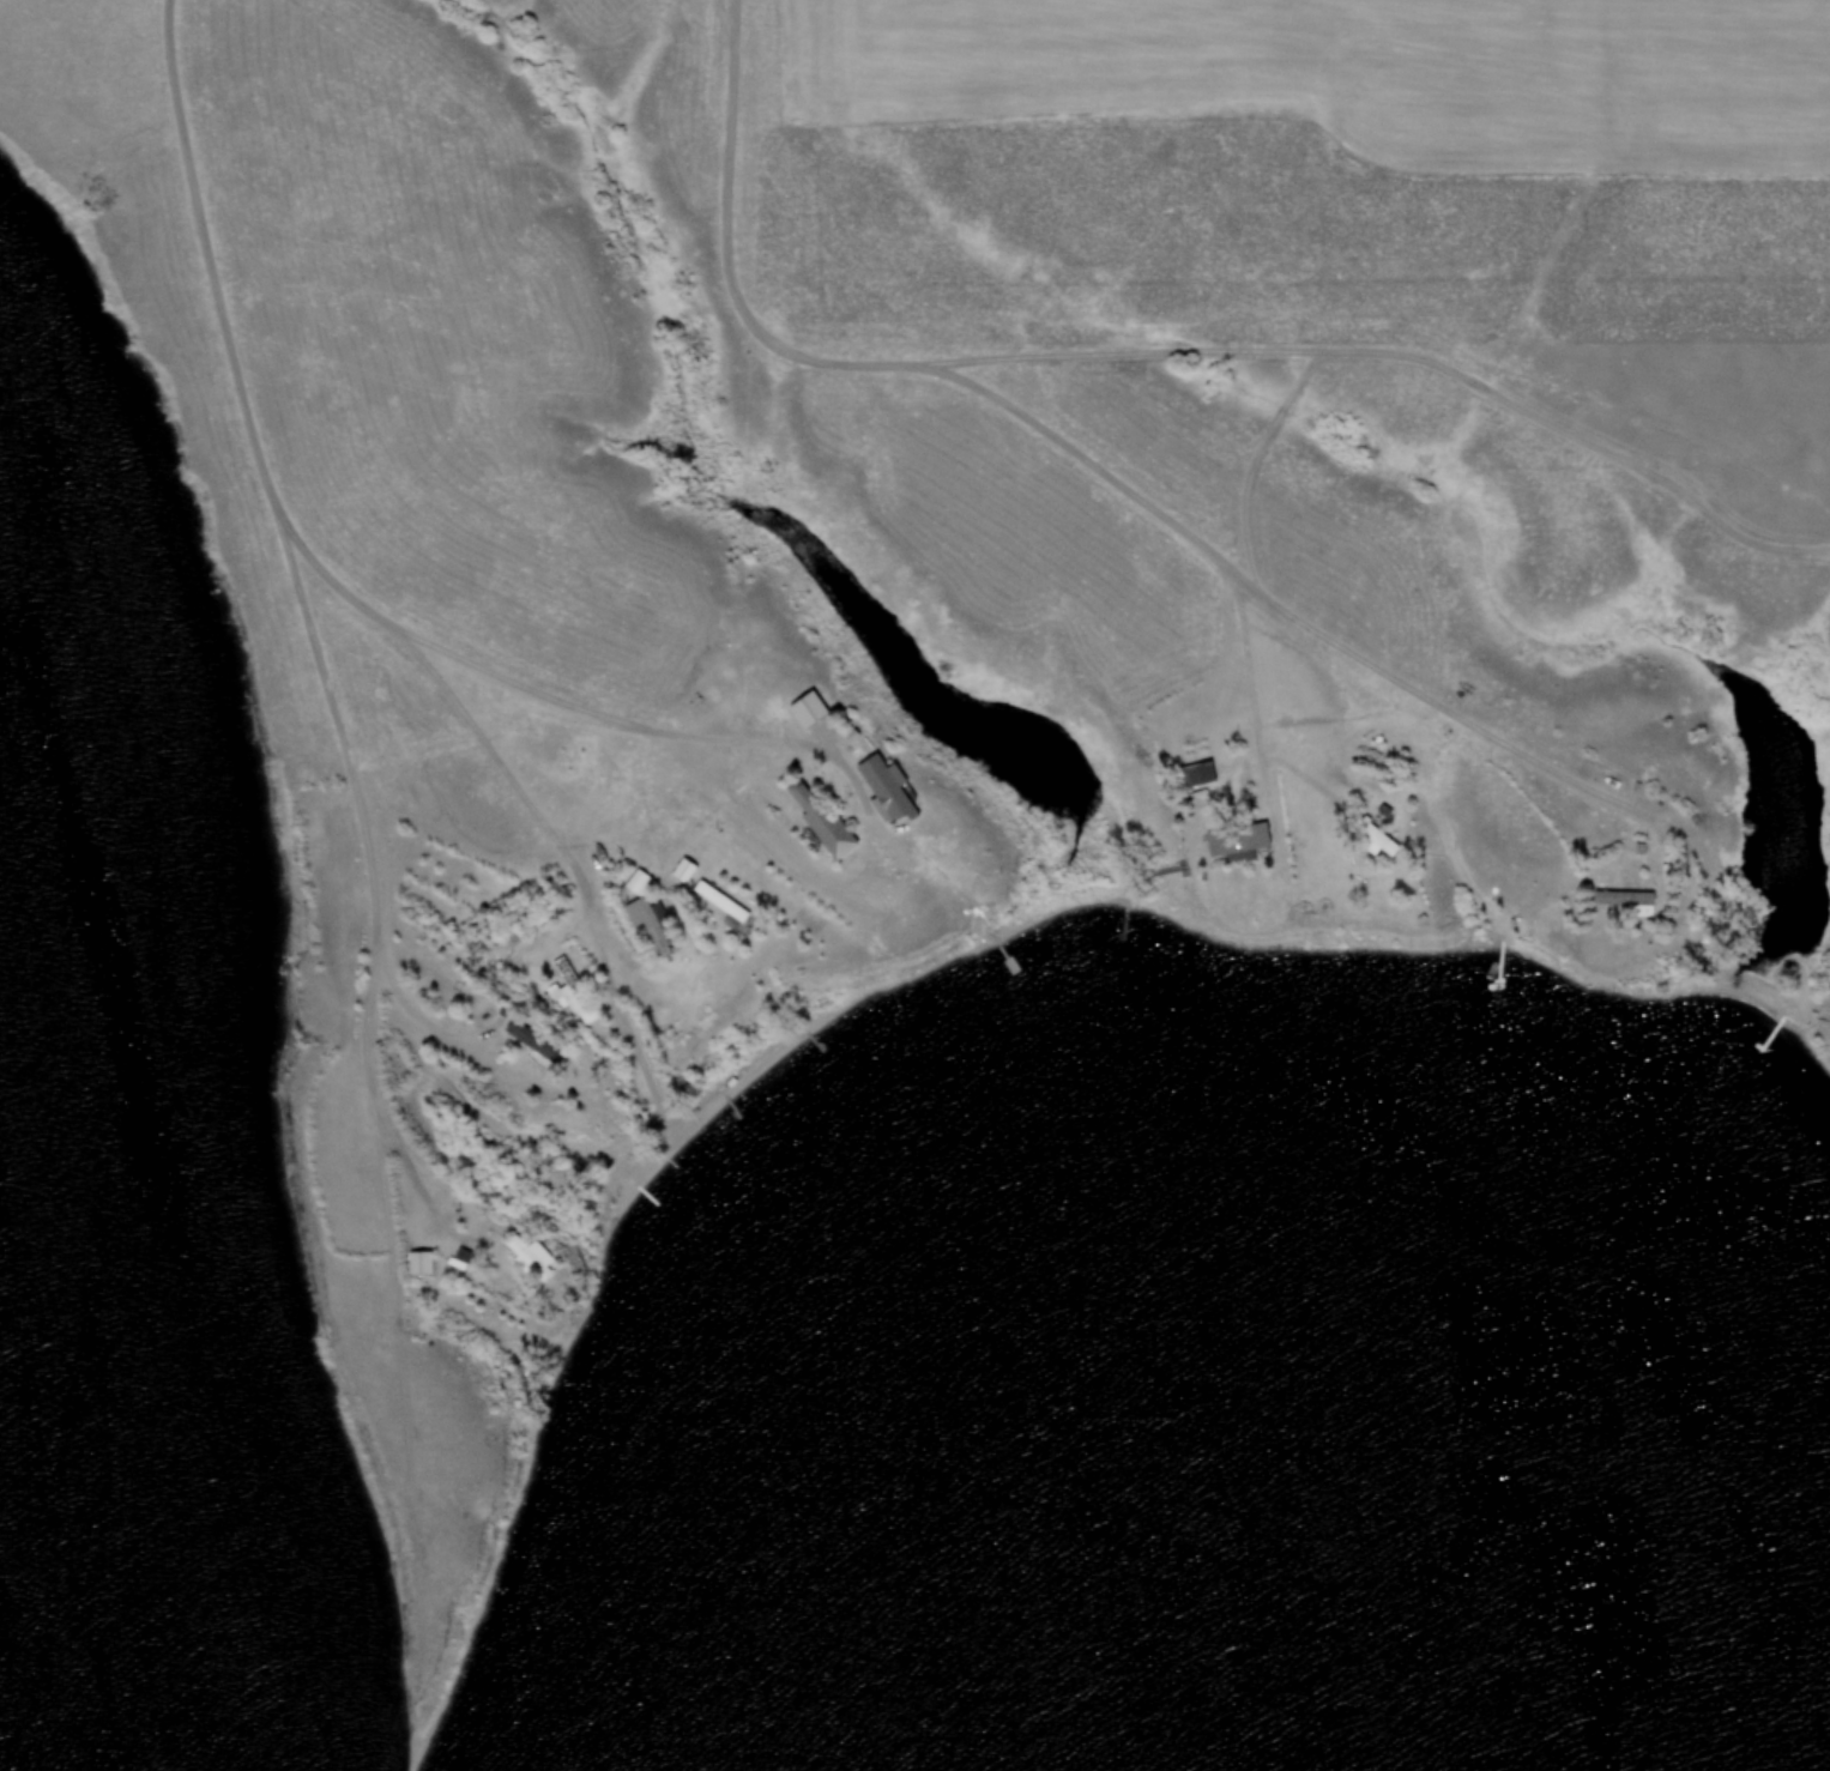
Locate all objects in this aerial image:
road: (1161, 355)
road: (303, 619)
road: (430, 641)
building: (808, 712)
building: (1195, 774)
building: (884, 788)
building: (819, 821)
building: (1238, 841)
building: (683, 871)
building: (1627, 902)
building: (721, 903)
building: (646, 913)
building: (572, 993)
building: (472, 1007)
building: (542, 1053)
building: (530, 1257)
building: (419, 1264)

